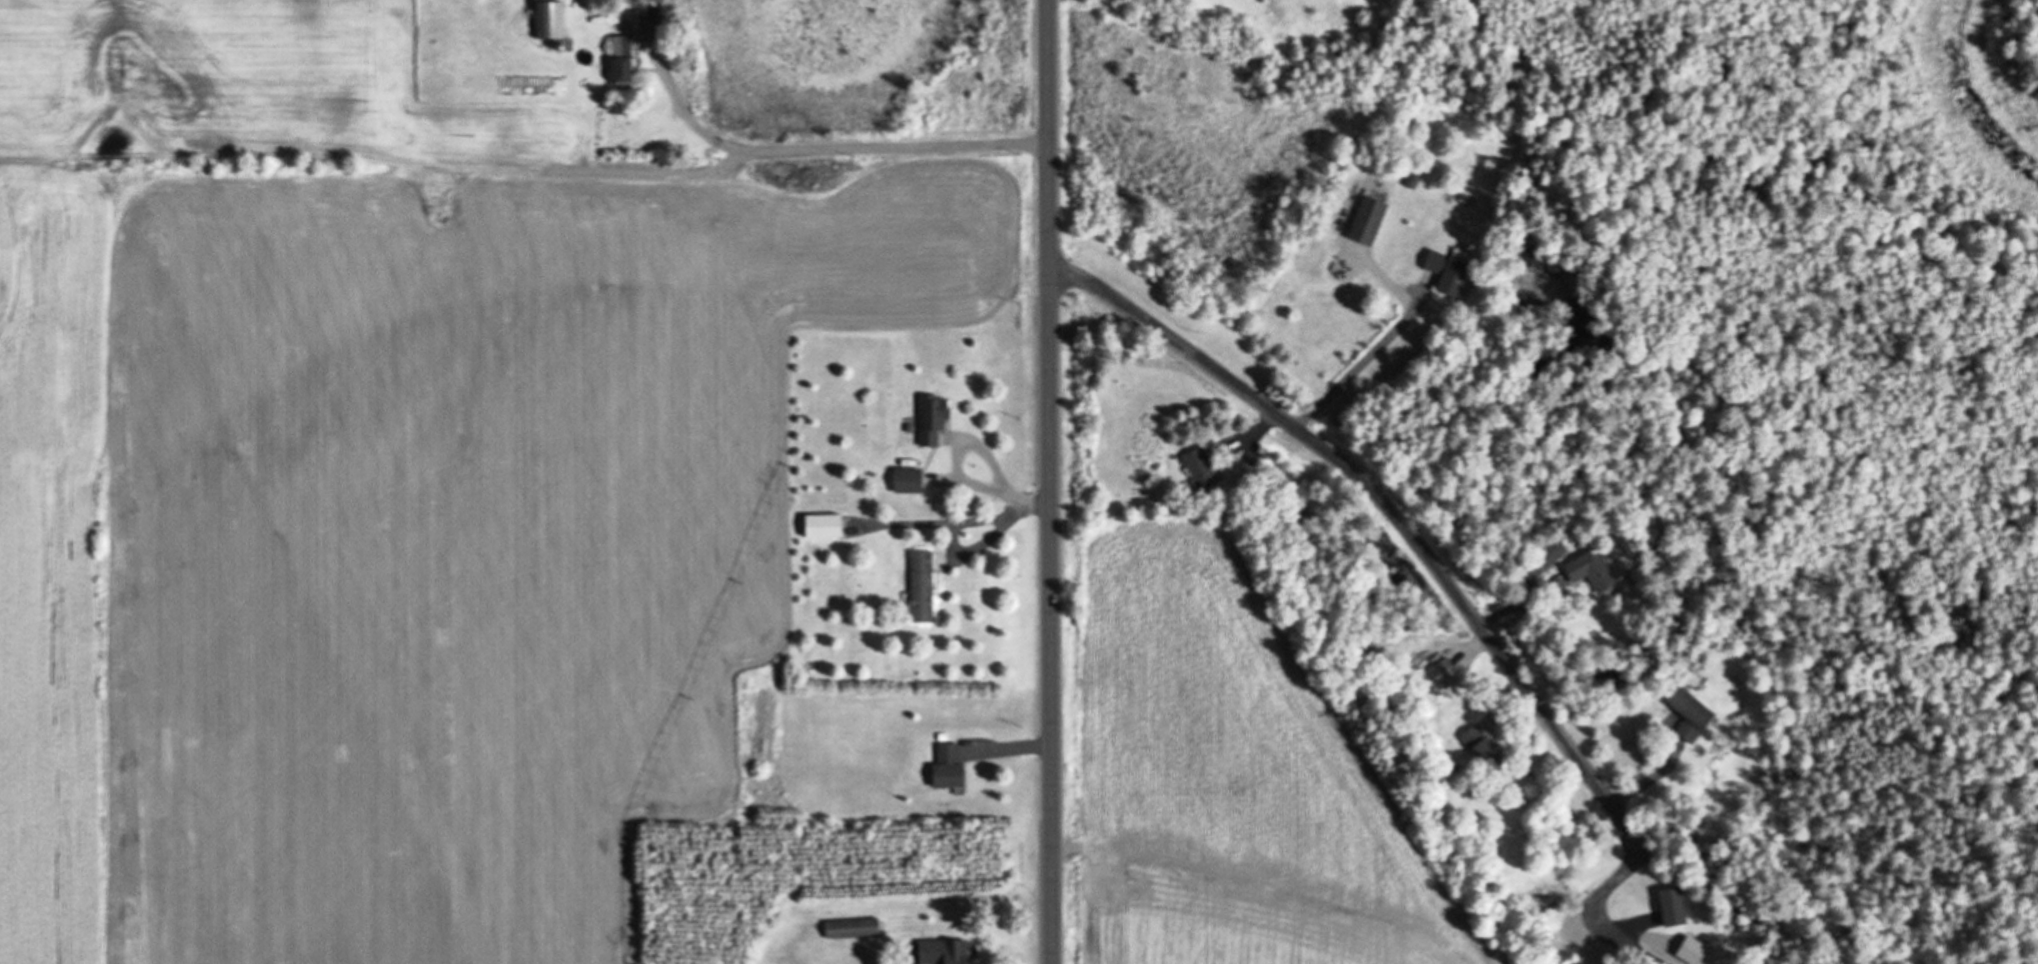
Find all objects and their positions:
building: (648, 9)
building: (547, 19)
building: (618, 60)
road: (912, 147)
building: (1365, 220)
building: (1445, 271)
road: (464, 318)
building: (930, 417)
building: (1198, 467)
building: (905, 479)
road: (1049, 481)
building: (820, 525)
building: (1551, 552)
building: (1589, 570)
road: (1441, 574)
building: (919, 585)
building: (1687, 713)
building: (1478, 746)
building: (945, 765)
building: (1670, 906)
building: (849, 928)
building: (940, 951)

